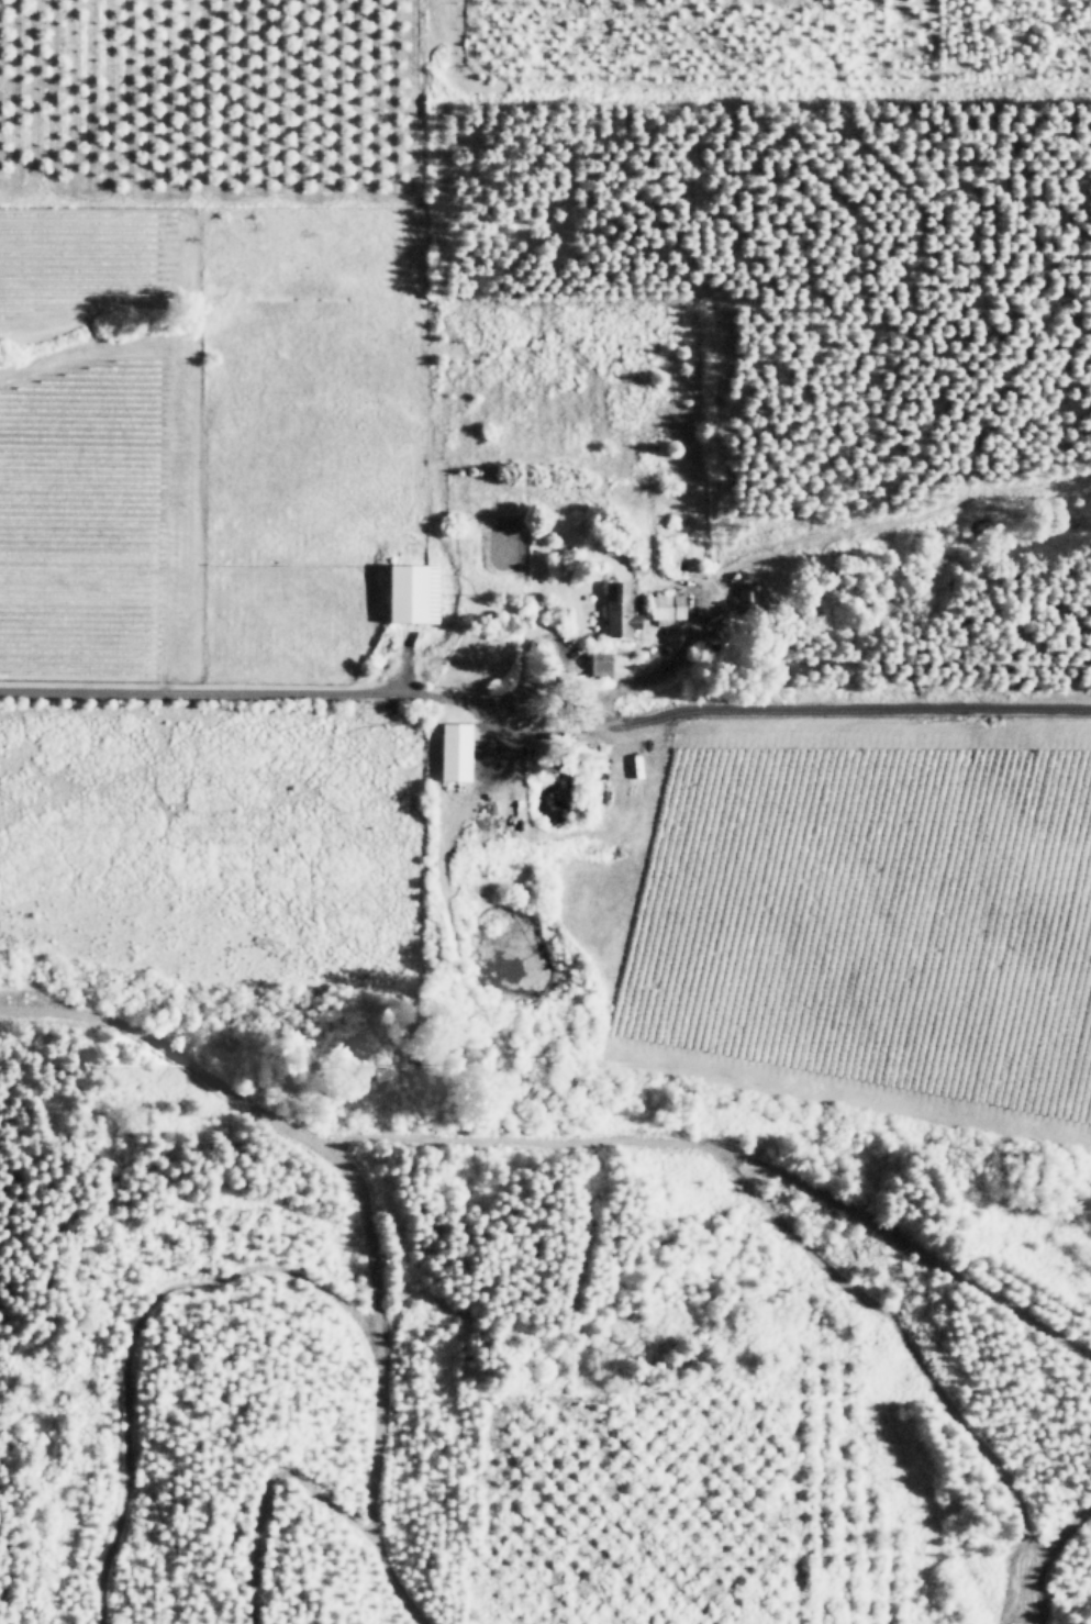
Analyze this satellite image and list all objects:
building: (753, 594)
building: (665, 604)
building: (619, 609)
building: (600, 665)
road: (266, 692)
building: (454, 752)

